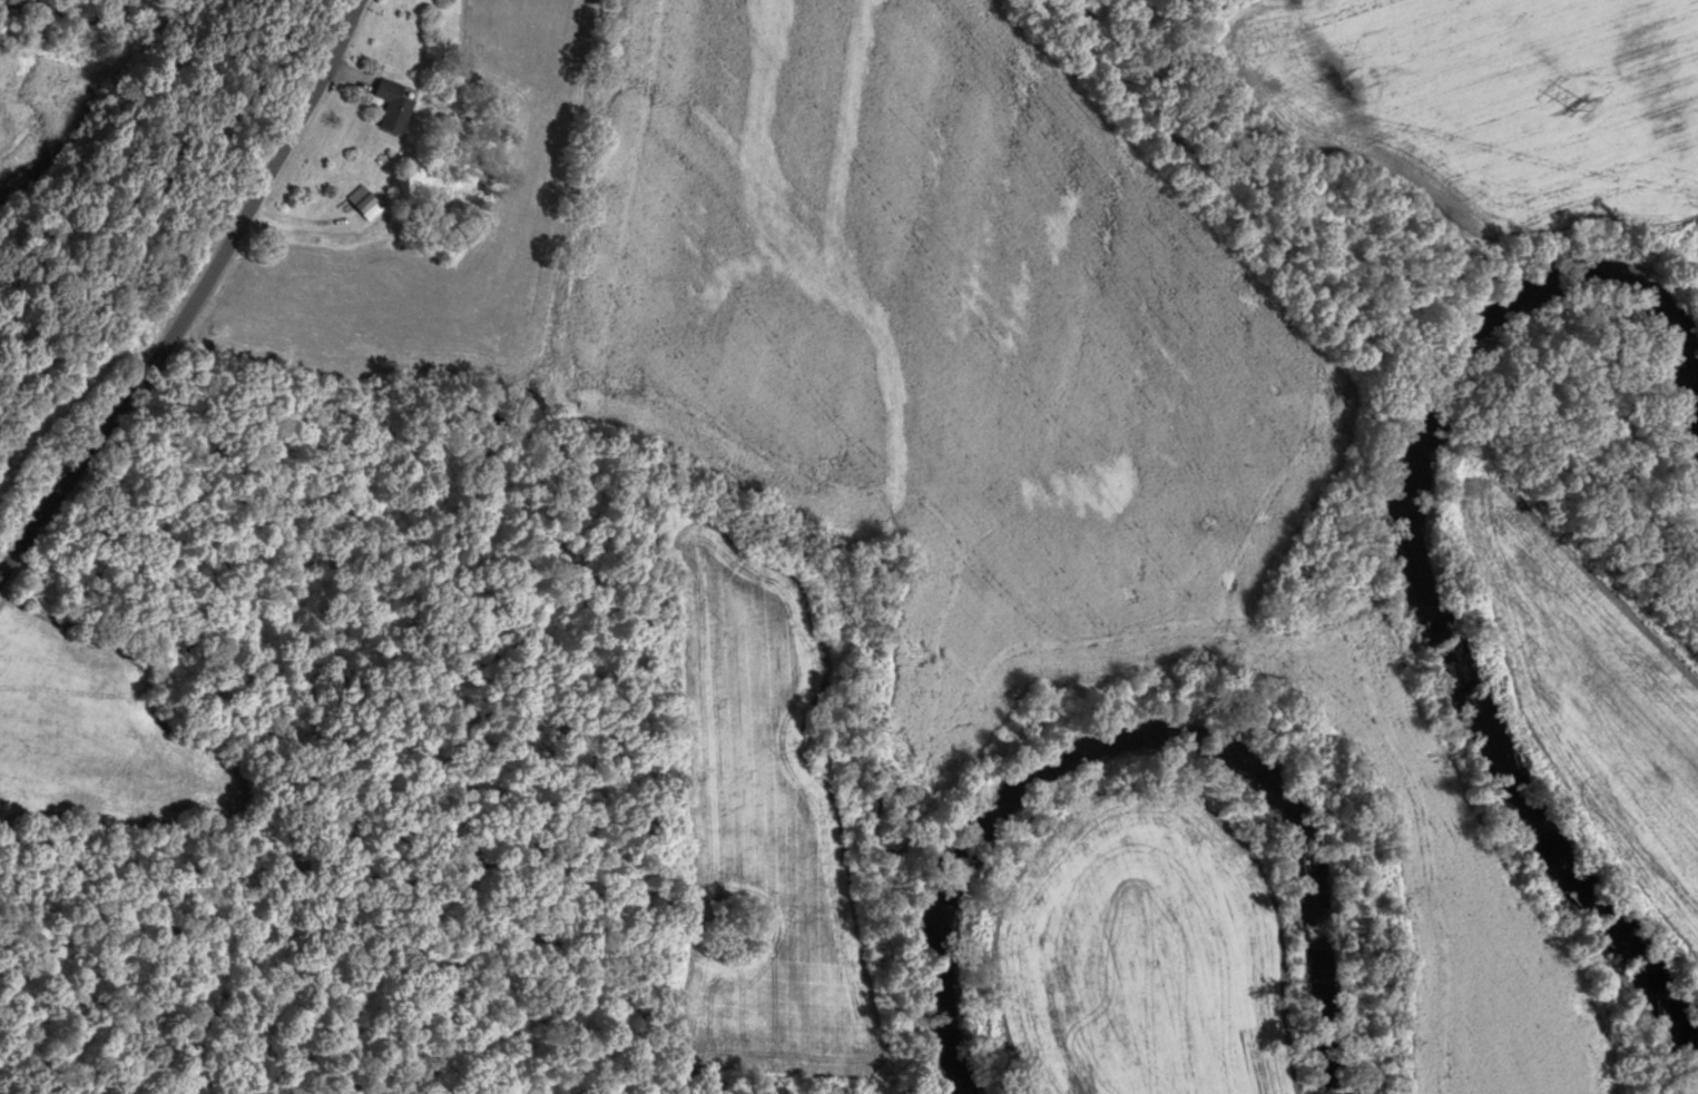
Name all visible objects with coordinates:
power tower: (1577, 102)
building: (392, 105)
building: (365, 201)
road: (194, 298)

